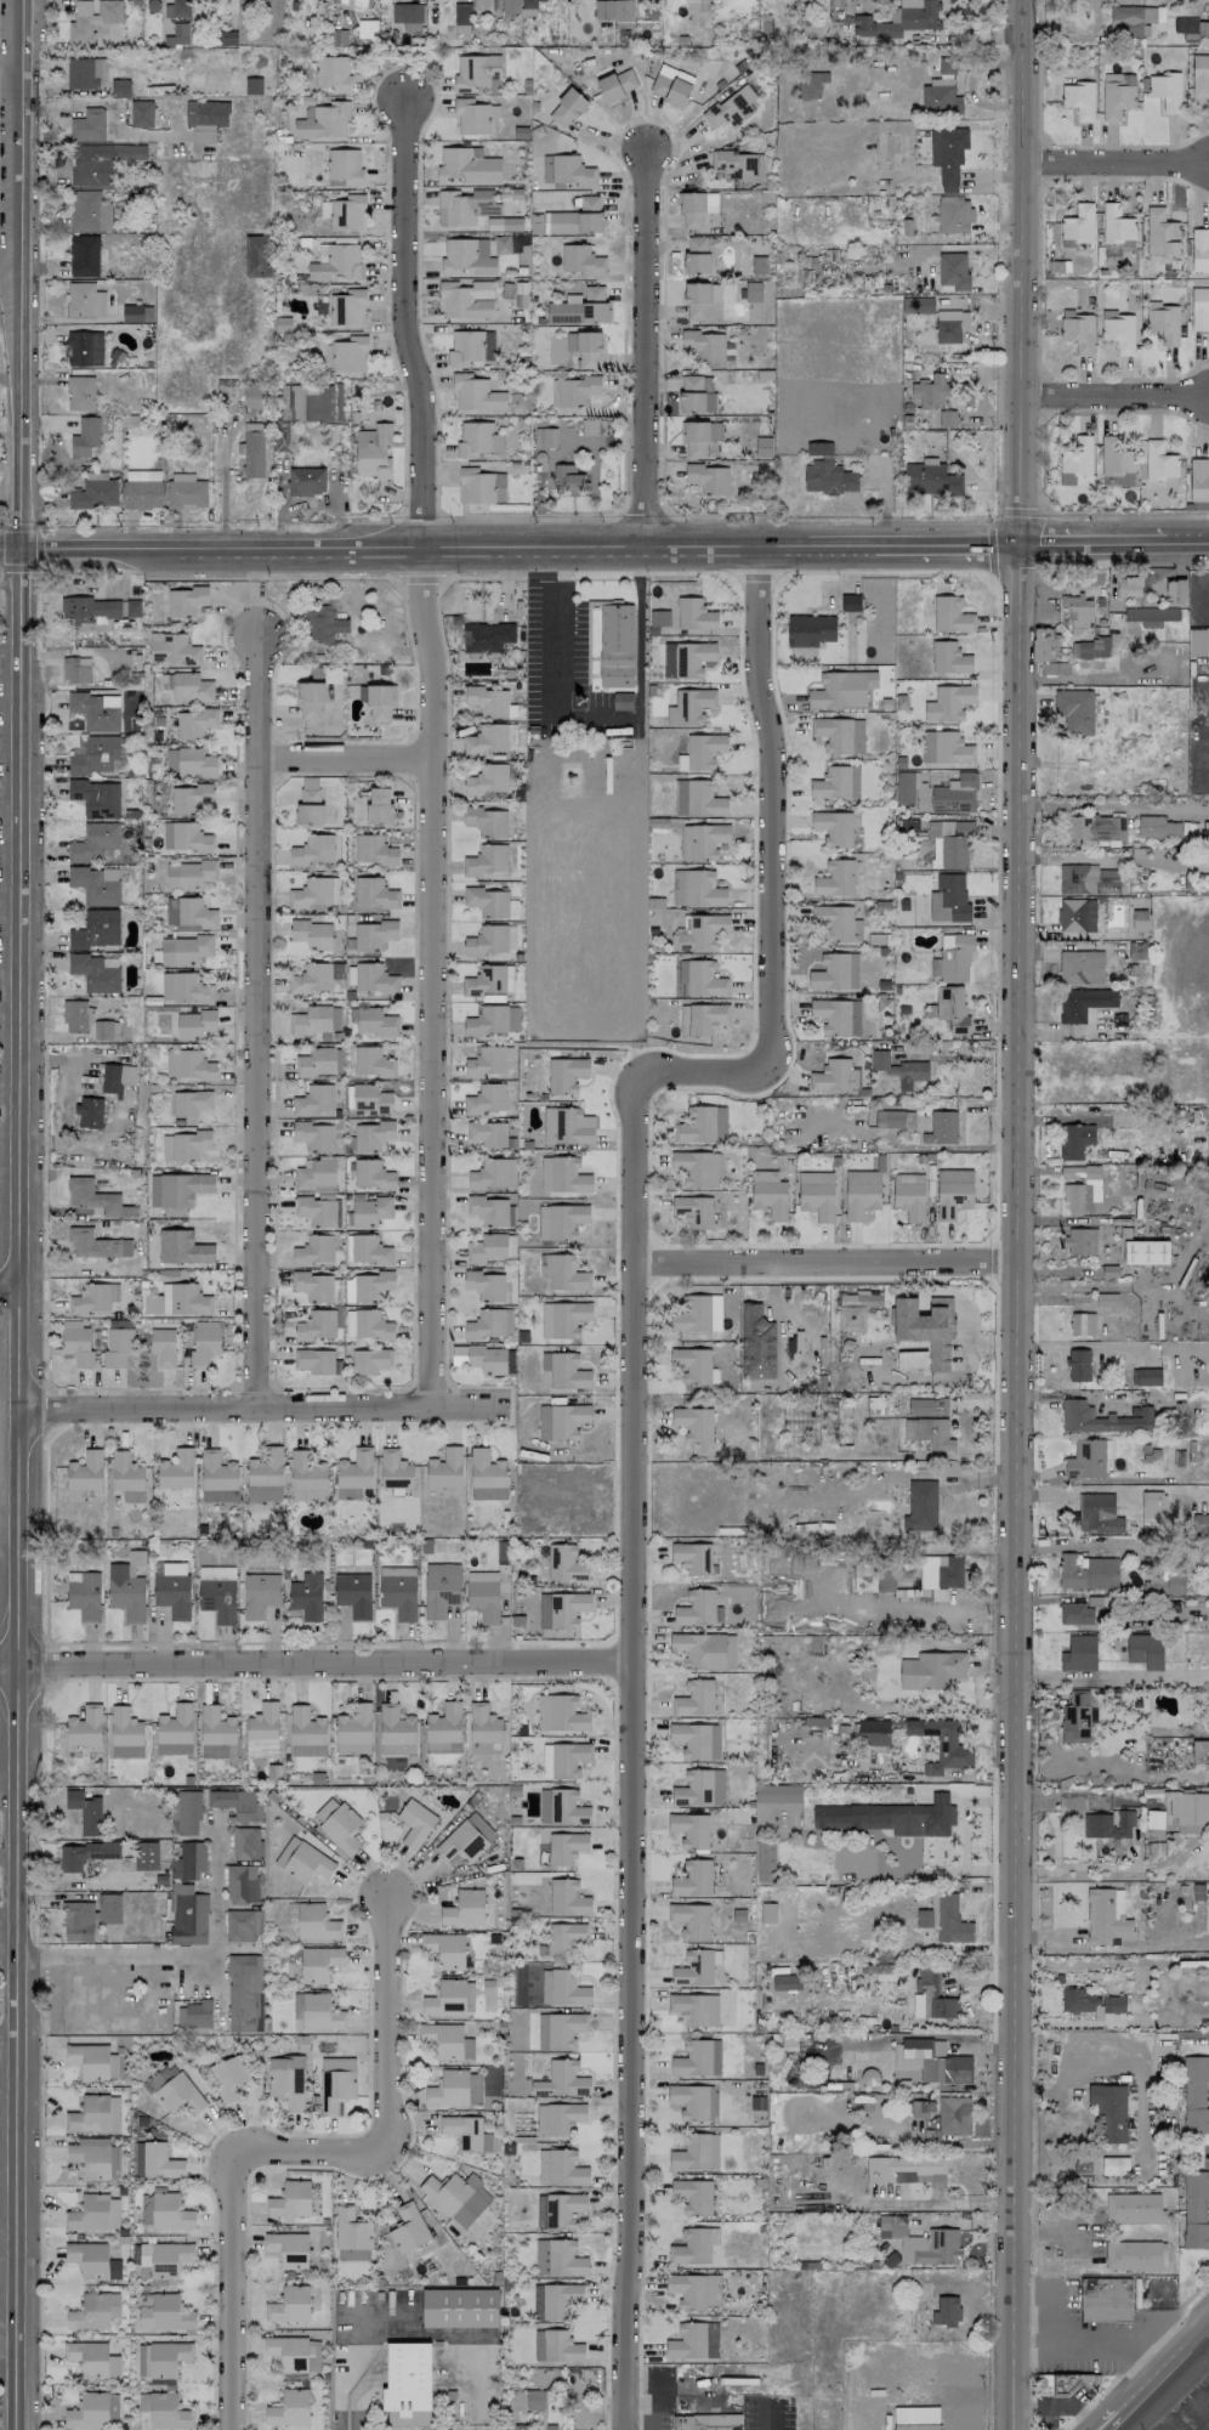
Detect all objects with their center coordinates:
building: (358, 2)
building: (509, 7)
building: (527, 7)
building: (176, 9)
building: (612, 9)
building: (405, 12)
building: (461, 13)
building: (92, 19)
building: (904, 19)
building: (1131, 19)
building: (410, 27)
building: (1192, 27)
building: (367, 29)
building: (177, 35)
road: (11, 55)
building: (84, 73)
building: (331, 73)
building: (477, 73)
building: (1199, 75)
building: (617, 84)
building: (810, 84)
building: (670, 85)
building: (941, 91)
building: (1165, 91)
building: (1116, 95)
building: (1079, 100)
building: (731, 107)
building: (566, 108)
building: (141, 113)
building: (206, 113)
road: (118, 115)
building: (471, 117)
building: (324, 120)
building: (87, 125)
building: (948, 152)
building: (100, 162)
road: (1114, 163)
building: (466, 165)
building: (734, 165)
building: (344, 168)
building: (571, 170)
building: (465, 206)
building: (694, 208)
building: (89, 211)
building: (346, 213)
building: (953, 216)
building: (1077, 226)
building: (1116, 226)
building: (1160, 236)
building: (498, 245)
building: (1199, 250)
building: (85, 255)
building: (696, 255)
building: (257, 256)
building: (466, 256)
building: (580, 260)
building: (337, 264)
road: (11, 265)
building: (953, 270)
building: (464, 299)
building: (84, 300)
building: (697, 300)
building: (916, 305)
building: (578, 306)
building: (346, 307)
building: (1199, 308)
building: (132, 313)
building: (1163, 323)
building: (950, 325)
building: (1077, 330)
building: (1118, 330)
building: (703, 344)
road: (645, 346)
building: (465, 347)
building: (84, 349)
building: (585, 349)
building: (348, 353)
building: (577, 390)
building: (930, 390)
building: (80, 393)
building: (476, 393)
building: (696, 393)
building: (728, 393)
road: (1106, 393)
building: (303, 409)
building: (589, 427)
building: (698, 436)
building: (544, 437)
building: (477, 440)
building: (373, 449)
building: (252, 454)
building: (1075, 460)
building: (1116, 460)
building: (1159, 460)
building: (829, 477)
building: (930, 477)
building: (567, 478)
building: (708, 478)
building: (1198, 480)
building: (306, 481)
building: (478, 485)
building: (141, 489)
building: (95, 492)
building: (186, 492)
road: (1126, 514)
road: (991, 522)
road: (1114, 545)
road: (522, 546)
road: (12, 548)
road: (753, 577)
road: (421, 578)
building: (1128, 587)
building: (1175, 589)
building: (185, 600)
building: (850, 602)
building: (132, 607)
building: (86, 608)
building: (1078, 610)
building: (694, 614)
building: (950, 614)
building: (1150, 616)
building: (658, 617)
building: (322, 624)
building: (808, 630)
road: (407, 631)
building: (486, 636)
building: (1043, 644)
building: (615, 645)
building: (172, 648)
building: (1089, 648)
building: (686, 658)
building: (949, 658)
building: (75, 669)
building: (191, 687)
building: (841, 689)
building: (308, 698)
building: (376, 701)
building: (488, 701)
building: (948, 703)
building: (689, 706)
building: (1074, 710)
building: (93, 712)
road: (596, 716)
building: (194, 723)
building: (839, 735)
building: (486, 738)
building: (944, 747)
building: (700, 750)
road: (436, 754)
building: (95, 755)
road: (350, 758)
building: (189, 761)
building: (487, 780)
building: (835, 782)
building: (912, 791)
building: (954, 794)
building: (96, 798)
building: (189, 798)
building: (697, 798)
building: (308, 805)
road: (1109, 805)
building: (379, 806)
building: (487, 821)
building: (833, 827)
building: (1096, 829)
building: (185, 837)
building: (702, 840)
building: (952, 842)
building: (96, 843)
building: (312, 850)
building: (373, 850)
building: (487, 860)
building: (189, 874)
building: (835, 878)
building: (1086, 879)
building: (96, 884)
building: (696, 889)
building: (311, 893)
building: (374, 893)
building: (948, 899)
building: (487, 901)
building: (188, 912)
building: (1075, 914)
building: (1139, 919)
building: (836, 923)
building: (97, 929)
building: (699, 933)
building: (311, 934)
building: (374, 935)
building: (487, 940)
building: (185, 948)
building: (955, 956)
building: (1080, 967)
building: (835, 972)
building: (95, 973)
building: (312, 978)
building: (374, 979)
building: (699, 979)
building: (484, 980)
building: (185, 987)
building: (1083, 1002)
building: (952, 1007)
road: (260, 1009)
building: (75, 1015)
building: (836, 1015)
building: (335, 1018)
building: (512, 1018)
building: (702, 1019)
building: (310, 1020)
building: (487, 1020)
building: (375, 1021)
building: (194, 1024)
building: (106, 1030)
road: (954, 1055)
building: (880, 1060)
building: (484, 1061)
building: (316, 1063)
building: (371, 1063)
building: (188, 1065)
building: (910, 1074)
building: (561, 1075)
building: (830, 1075)
building: (117, 1077)
building: (367, 1098)
building: (486, 1099)
building: (314, 1100)
building: (191, 1103)
building: (89, 1112)
building: (893, 1120)
building: (702, 1125)
building: (567, 1126)
building: (941, 1128)
building: (487, 1133)
building: (313, 1135)
building: (371, 1135)
building: (1075, 1142)
building: (189, 1145)
road: (908, 1146)
building: (166, 1148)
building: (698, 1167)
building: (314, 1173)
building: (493, 1173)
building: (371, 1174)
building: (562, 1174)
building: (183, 1188)
building: (1082, 1188)
building: (861, 1193)
building: (953, 1193)
building: (768, 1194)
building: (816, 1194)
building: (908, 1195)
building: (97, 1199)
building: (369, 1210)
building: (316, 1211)
building: (493, 1211)
building: (693, 1211)
road: (21, 1214)
road: (1011, 1214)
building: (560, 1220)
building: (1080, 1241)
building: (96, 1244)
road: (889, 1245)
building: (510, 1246)
building: (182, 1247)
building: (487, 1248)
building: (313, 1250)
building: (368, 1250)
building: (1145, 1252)
road: (822, 1263)
building: (566, 1273)
road: (10, 1285)
building: (484, 1285)
building: (313, 1286)
building: (371, 1286)
building: (93, 1298)
building: (185, 1299)
building: (855, 1310)
building: (697, 1313)
building: (562, 1319)
building: (350, 1322)
building: (489, 1324)
building: (1082, 1324)
building: (316, 1325)
building: (371, 1325)
building: (926, 1327)
building: (76, 1346)
building: (117, 1346)
building: (204, 1346)
building: (163, 1347)
building: (487, 1359)
building: (314, 1360)
building: (369, 1360)
building: (692, 1364)
building: (1078, 1365)
building: (1145, 1376)
road: (265, 1401)
building: (926, 1406)
building: (1101, 1418)
building: (561, 1421)
road: (631, 1422)
building: (693, 1423)
building: (716, 1424)
building: (930, 1432)
building: (1088, 1457)
building: (354, 1468)
building: (444, 1468)
building: (176, 1469)
building: (395, 1469)
building: (85, 1471)
building: (306, 1471)
building: (265, 1475)
building: (486, 1475)
building: (126, 1477)
building: (217, 1478)
building: (348, 1492)
building: (308, 1495)
building: (920, 1506)
building: (1152, 1508)
building: (1097, 1513)
building: (1199, 1523)
road: (613, 1543)
building: (692, 1557)
building: (564, 1563)
building: (942, 1571)
building: (1086, 1571)
building: (873, 1577)
building: (1163, 1585)
building: (171, 1588)
building: (439, 1588)
building: (398, 1591)
building: (217, 1592)
building: (259, 1593)
building: (353, 1593)
building: (482, 1594)
building: (85, 1596)
building: (306, 1596)
building: (127, 1597)
building: (561, 1609)
building: (696, 1609)
building: (1075, 1614)
building: (704, 1650)
building: (1145, 1650)
building: (1078, 1653)
road: (313, 1661)
building: (931, 1670)
road: (1100, 1676)
building: (694, 1698)
building: (560, 1714)
building: (1075, 1717)
building: (443, 1723)
building: (483, 1724)
building: (84, 1727)
building: (353, 1729)
building: (175, 1731)
building: (262, 1731)
building: (396, 1732)
building: (125, 1733)
building: (216, 1733)
building: (306, 1733)
building: (873, 1733)
building: (696, 1740)
building: (941, 1744)
building: (1199, 1751)
building: (563, 1760)
building: (700, 1788)
building: (777, 1792)
road: (1031, 1801)
building: (237, 1803)
building: (561, 1807)
building: (324, 1809)
building: (85, 1811)
building: (187, 1812)
building: (1188, 1812)
building: (890, 1817)
building: (415, 1823)
building: (1108, 1824)
building: (341, 1828)
building: (689, 1830)
building: (466, 1837)
road: (1055, 1839)
building: (245, 1841)
building: (564, 1847)
building: (285, 1851)
building: (84, 1853)
building: (188, 1860)
building: (936, 1860)
building: (307, 1863)
road: (1088, 1867)
road: (1024, 1870)
building: (692, 1879)
building: (242, 1884)
road: (216, 1892)
building: (567, 1898)
building: (464, 1908)
building: (767, 1913)
building: (291, 1914)
building: (90, 1915)
building: (1106, 1916)
building: (924, 1918)
building: (689, 1920)
building: (950, 1920)
building: (316, 1922)
building: (243, 1925)
building: (564, 1937)
building: (444, 1949)
road: (119, 1954)
building: (319, 1964)
building: (693, 1969)
building: (785, 1982)
building: (567, 1988)
building: (244, 1993)
building: (445, 1998)
building: (931, 1998)
building: (1077, 2000)
building: (1113, 2004)
building: (694, 2009)
building: (317, 2011)
building: (193, 2015)
road: (391, 2021)
building: (560, 2029)
building: (447, 2040)
building: (697, 2058)
building: (89, 2061)
building: (930, 2061)
building: (161, 2077)
building: (228, 2078)
building: (286, 2080)
building: (561, 2080)
building: (335, 2089)
building: (455, 2089)
building: (1194, 2094)
building: (178, 2095)
building: (693, 2101)
building: (920, 2108)
building: (1109, 2111)
building: (95, 2113)
building: (953, 2115)
building: (557, 2118)
building: (466, 2132)
road: (313, 2148)
building: (696, 2152)
building: (95, 2159)
building: (137, 2159)
building: (159, 2162)
building: (1114, 2165)
building: (564, 2168)
building: (906, 2169)
building: (455, 2196)
building: (693, 2196)
building: (290, 2199)
road: (942, 2203)
building: (1133, 2208)
building: (558, 2209)
building: (1194, 2209)
building: (169, 2210)
building: (95, 2213)
building: (408, 2228)
road: (1055, 2231)
building: (351, 2236)
building: (921, 2242)
building: (693, 2245)
building: (288, 2249)
building: (1133, 2255)
building: (540, 2256)
building: (564, 2258)
building: (89, 2259)
building: (164, 2259)
road: (234, 2290)
building: (694, 2290)
building: (1106, 2299)
building: (555, 2300)
road: (1049, 2302)
building: (289, 2305)
building: (459, 2307)
building: (946, 2311)
building: (90, 2312)
building: (165, 2313)
road: (413, 2333)
road: (1141, 2333)
building: (693, 2340)
road: (8, 2343)
building: (538, 2345)
building: (561, 2346)
road: (1083, 2346)
building: (294, 2353)
building: (87, 2357)
building: (168, 2357)
building: (113, 2364)
road: (1168, 2375)
building: (1063, 2381)
building: (407, 2384)
building: (534, 2400)
road: (1187, 2401)
building: (113, 2407)
building: (289, 2408)
building: (89, 2411)
building: (168, 2412)
building: (915, 2418)
building: (681, 2420)
road: (1119, 2423)

